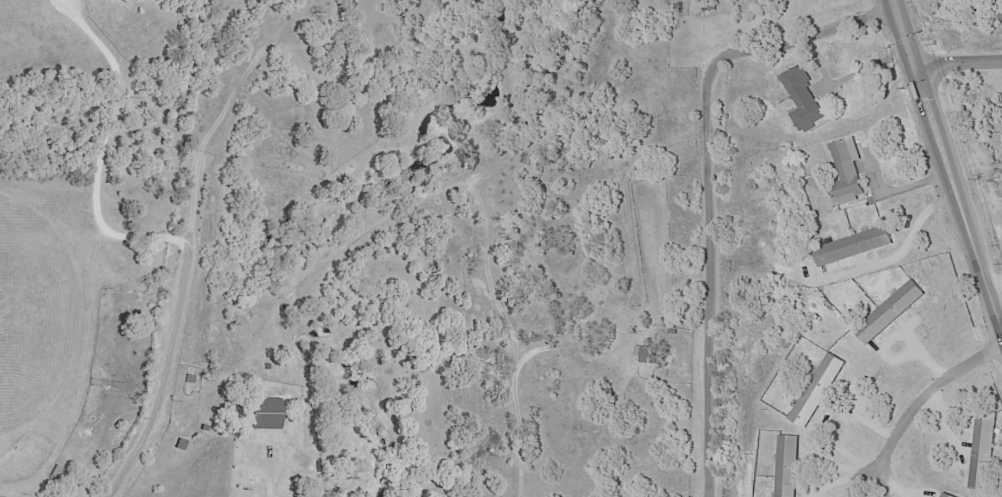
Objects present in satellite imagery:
building: (125, 1)
building: (712, 7)
road: (957, 60)
building: (259, 68)
road: (869, 68)
road: (924, 94)
building: (806, 98)
road: (98, 151)
building: (850, 171)
road: (708, 182)
road: (909, 241)
building: (856, 247)
road: (978, 258)
road: (995, 287)
building: (893, 312)
building: (675, 330)
building: (648, 354)
road: (162, 374)
building: (190, 379)
building: (821, 390)
road: (915, 400)
building: (265, 414)
building: (204, 428)
building: (181, 445)
building: (985, 450)
building: (790, 466)
road: (866, 493)
building: (949, 495)

